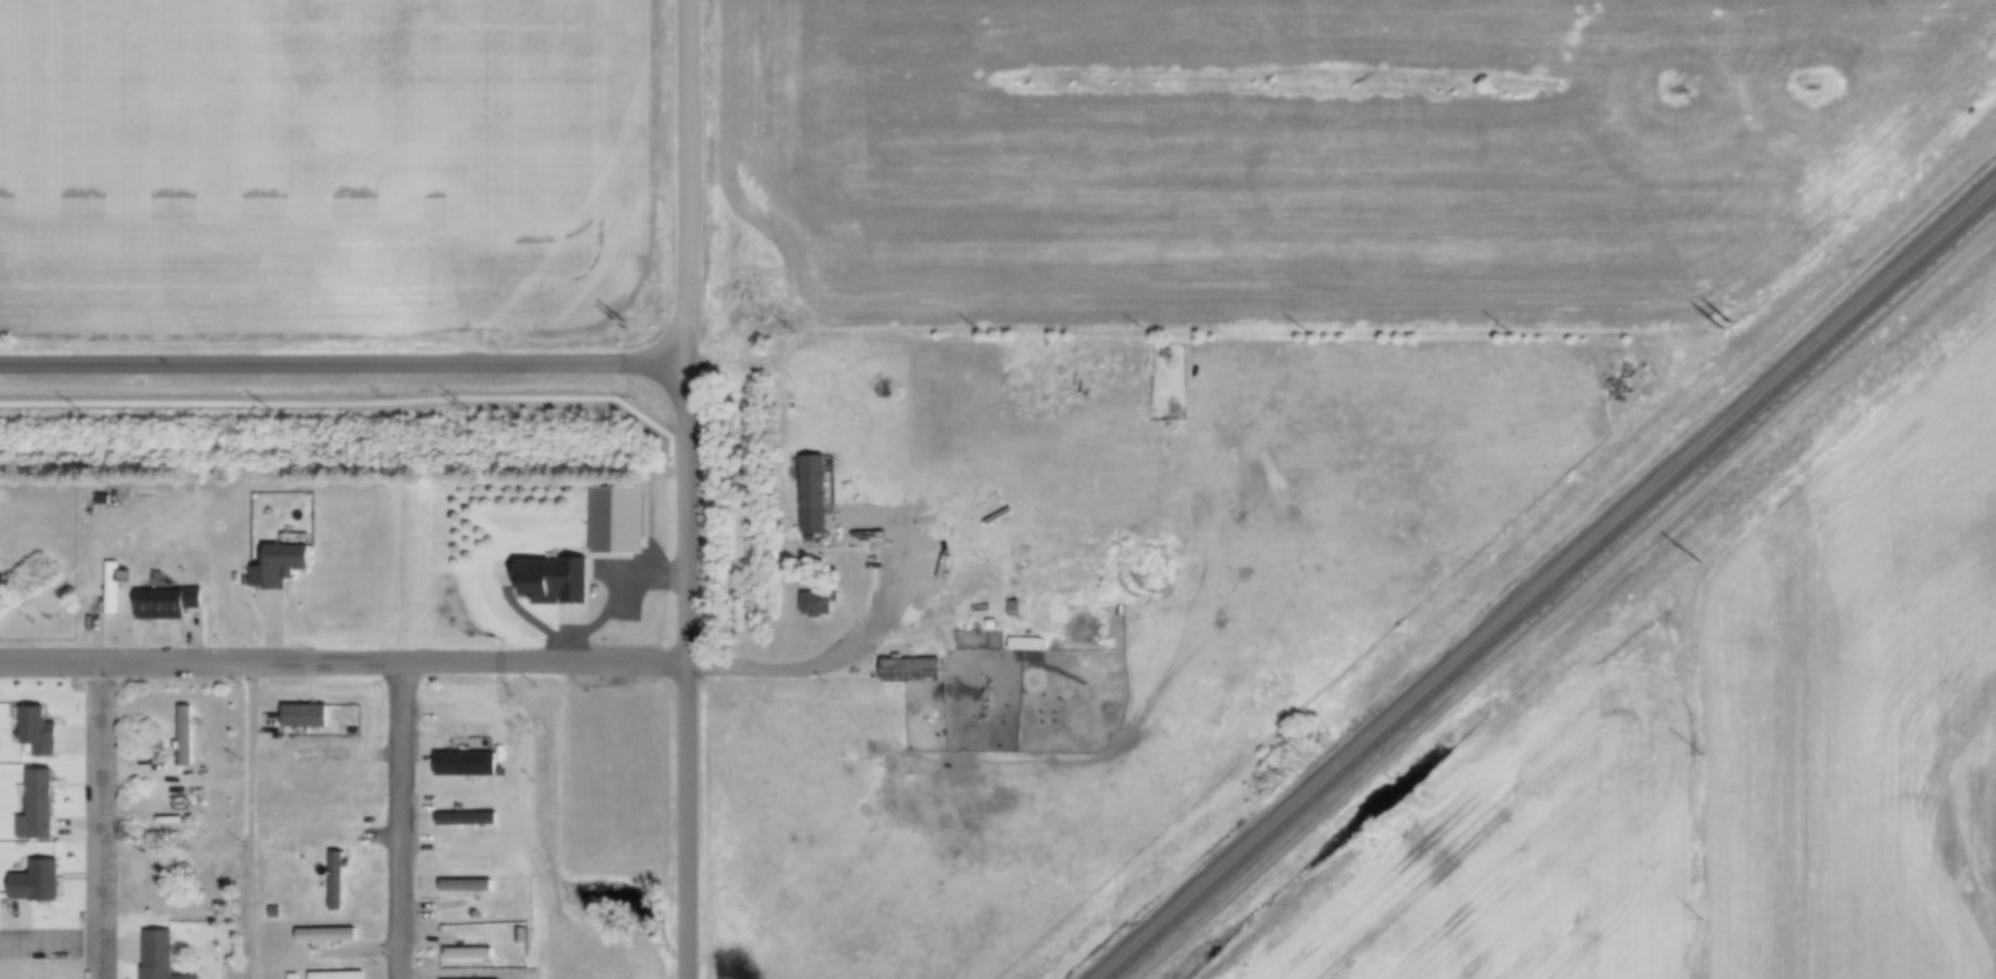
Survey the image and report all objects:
road: (688, 181)
road: (344, 365)
building: (818, 497)
building: (107, 499)
building: (622, 520)
building: (896, 531)
building: (287, 565)
railway: (1546, 581)
building: (558, 582)
building: (118, 586)
railway: (1554, 588)
building: (172, 603)
building: (820, 607)
building: (1018, 610)
building: (1031, 647)
road: (344, 662)
building: (459, 669)
road: (689, 670)
building: (915, 673)
road: (793, 674)
building: (308, 715)
building: (357, 729)
building: (464, 729)
building: (42, 733)
building: (191, 734)
building: (321, 754)
building: (467, 762)
building: (41, 810)
building: (469, 816)
road: (103, 820)
road: (251, 820)
road: (400, 821)
building: (168, 871)
building: (342, 881)
building: (41, 883)
building: (470, 886)
building: (279, 912)
building: (330, 936)
building: (526, 936)
road: (51, 946)
building: (473, 955)
building: (164, 956)
building: (297, 976)
building: (340, 976)

